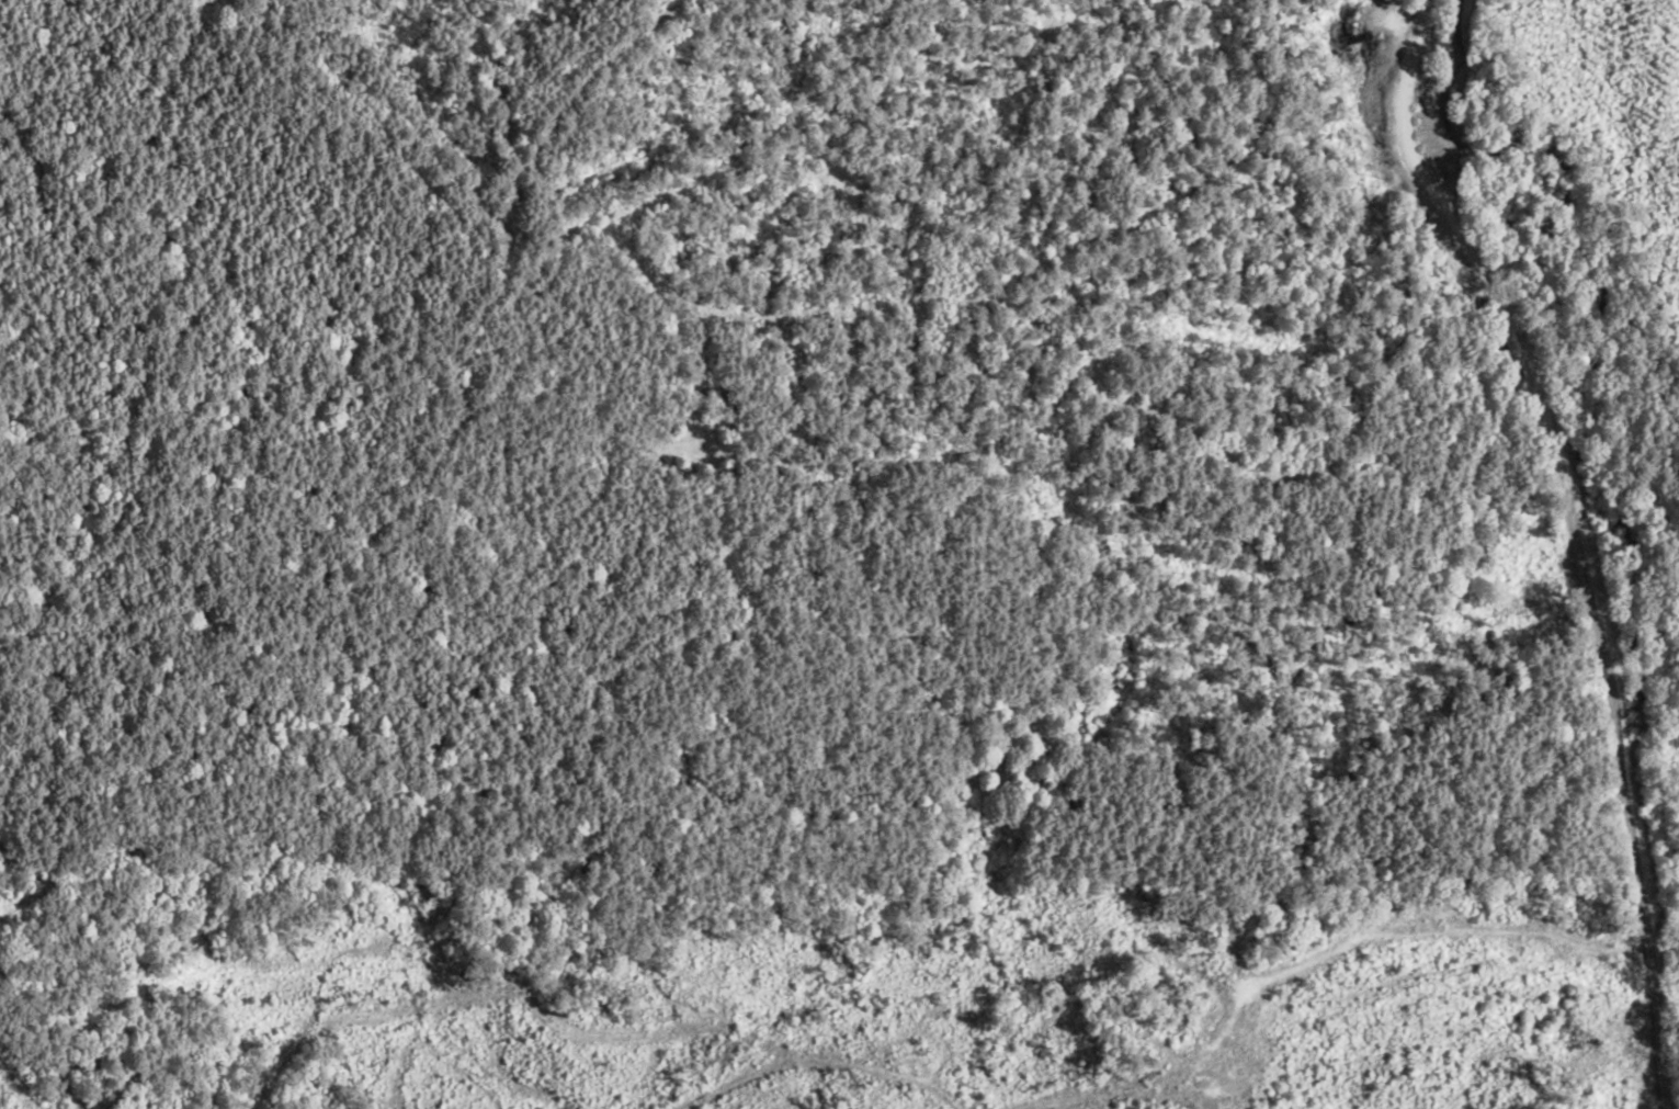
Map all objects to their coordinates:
road: (1572, 551)

